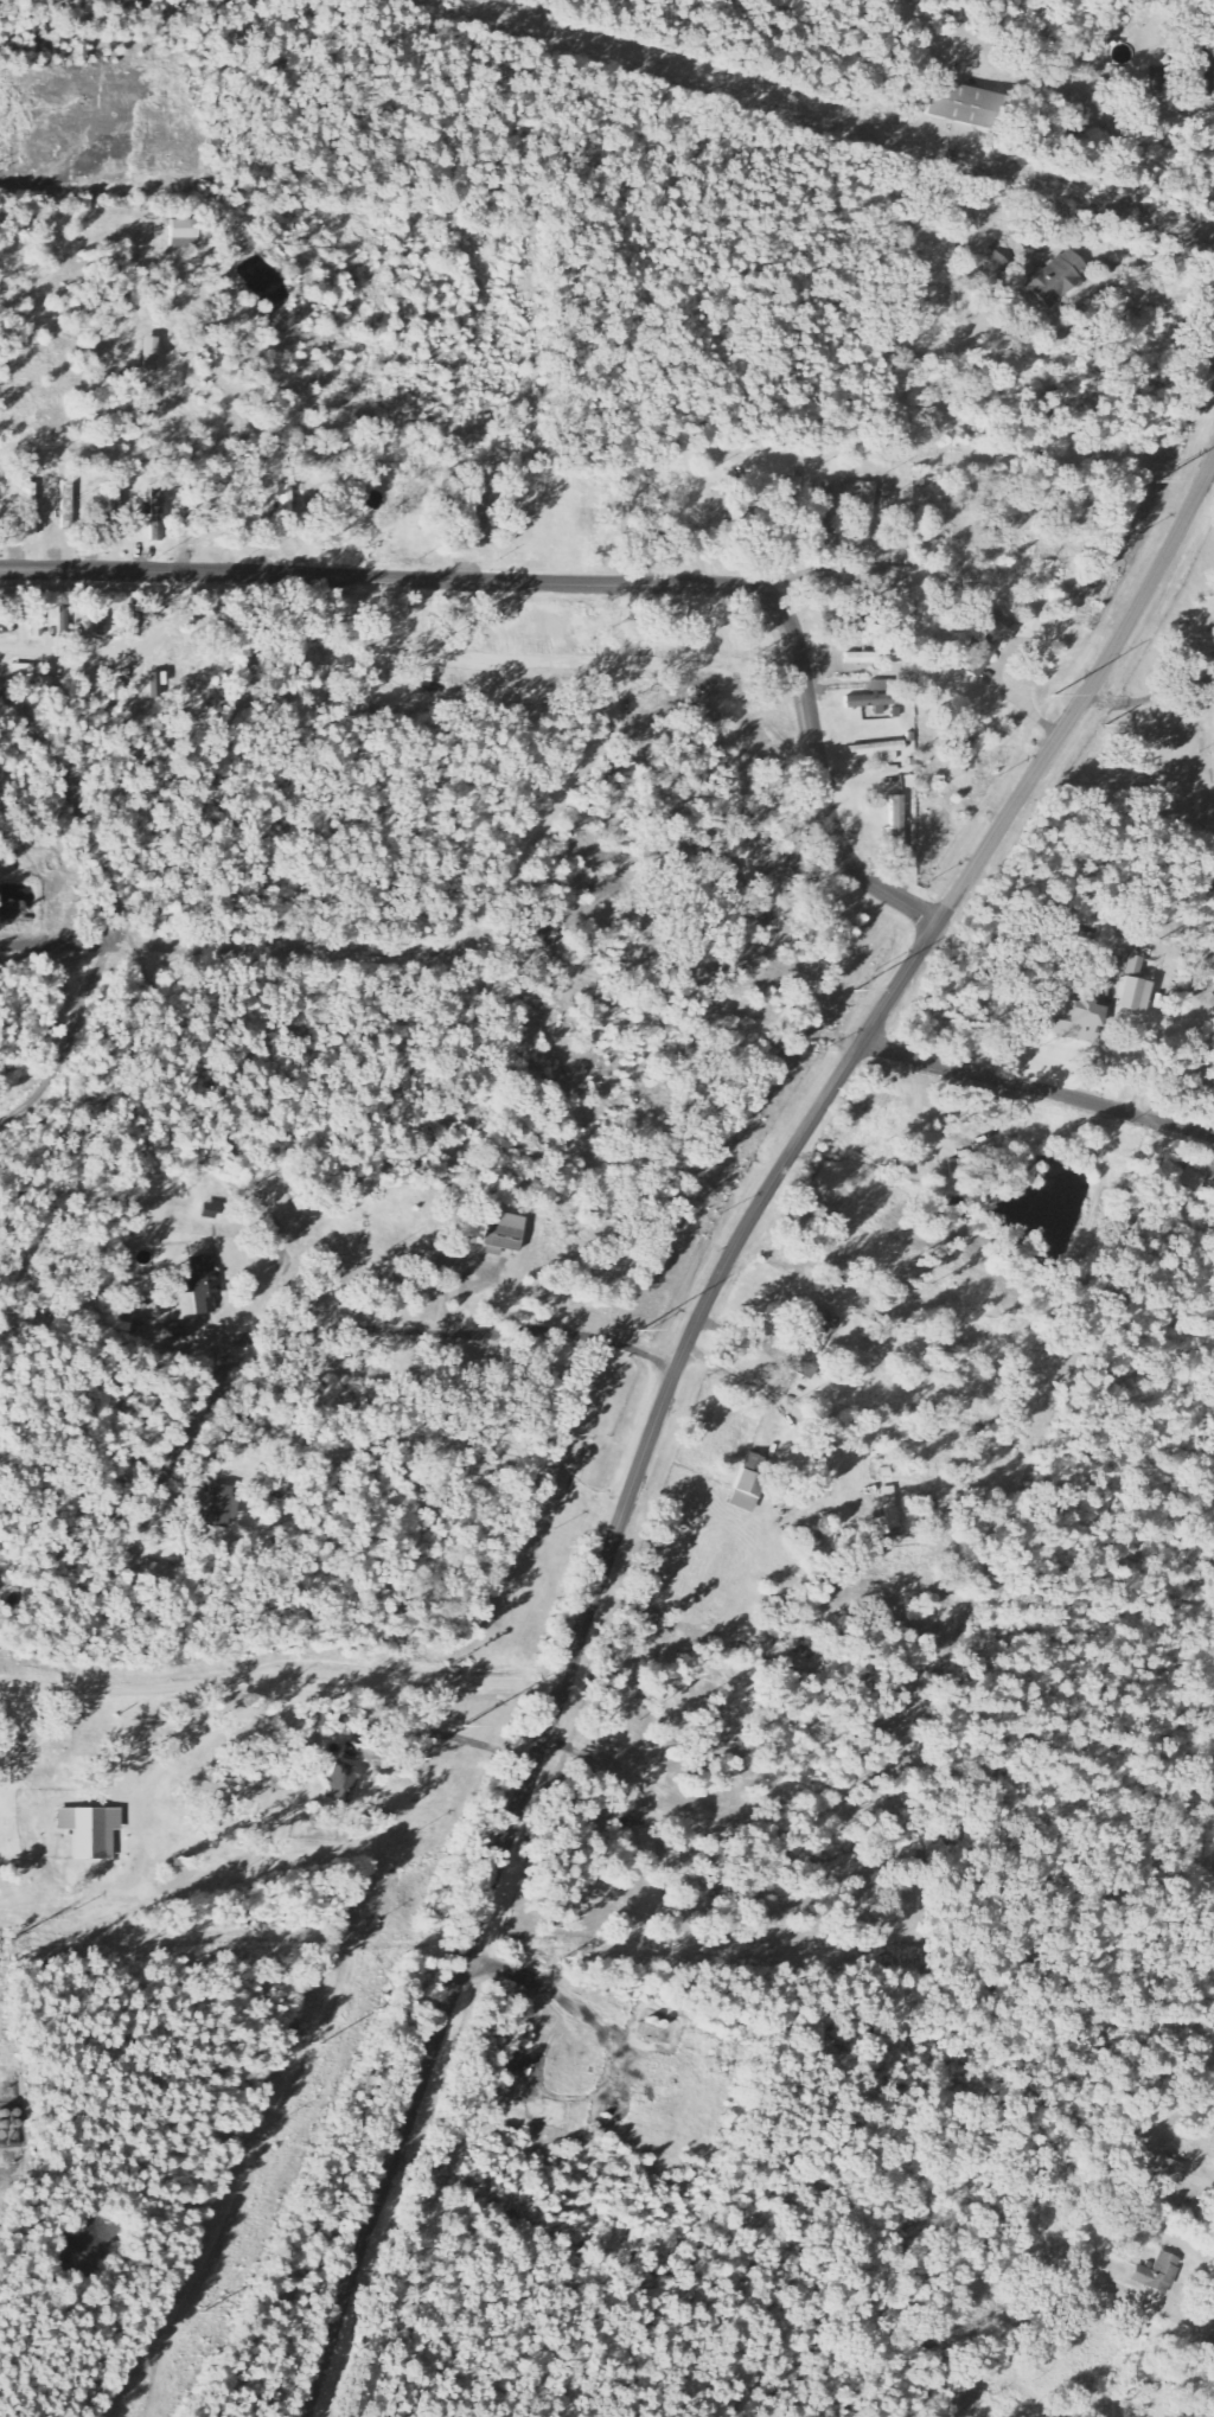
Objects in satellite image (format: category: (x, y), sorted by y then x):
road: (935, 34)
building: (1195, 75)
building: (964, 104)
building: (184, 234)
building: (1055, 279)
road: (1163, 292)
building: (151, 353)
building: (174, 381)
road: (1212, 466)
power tower: (1155, 482)
building: (286, 505)
building: (825, 509)
building: (31, 510)
building: (867, 511)
building: (478, 523)
building: (155, 526)
road: (581, 583)
building: (6, 624)
building: (986, 645)
building: (23, 671)
building: (47, 682)
building: (882, 685)
power tower: (1043, 691)
building: (874, 701)
building: (964, 743)
road: (78, 810)
building: (897, 824)
building: (1123, 948)
road: (435, 949)
building: (1135, 987)
power tower: (849, 989)
building: (1072, 1018)
road: (71, 1047)
road: (1037, 1089)
building: (503, 1234)
building: (203, 1284)
power tower: (639, 1331)
building: (811, 1342)
road: (666, 1392)
building: (747, 1492)
building: (221, 1508)
building: (155, 1575)
road: (280, 1679)
power tower: (464, 1724)
building: (341, 1783)
building: (91, 1833)
road: (215, 1886)
power tower: (320, 2045)
building: (1171, 2173)
building: (1158, 2275)
power tower: (199, 2313)

